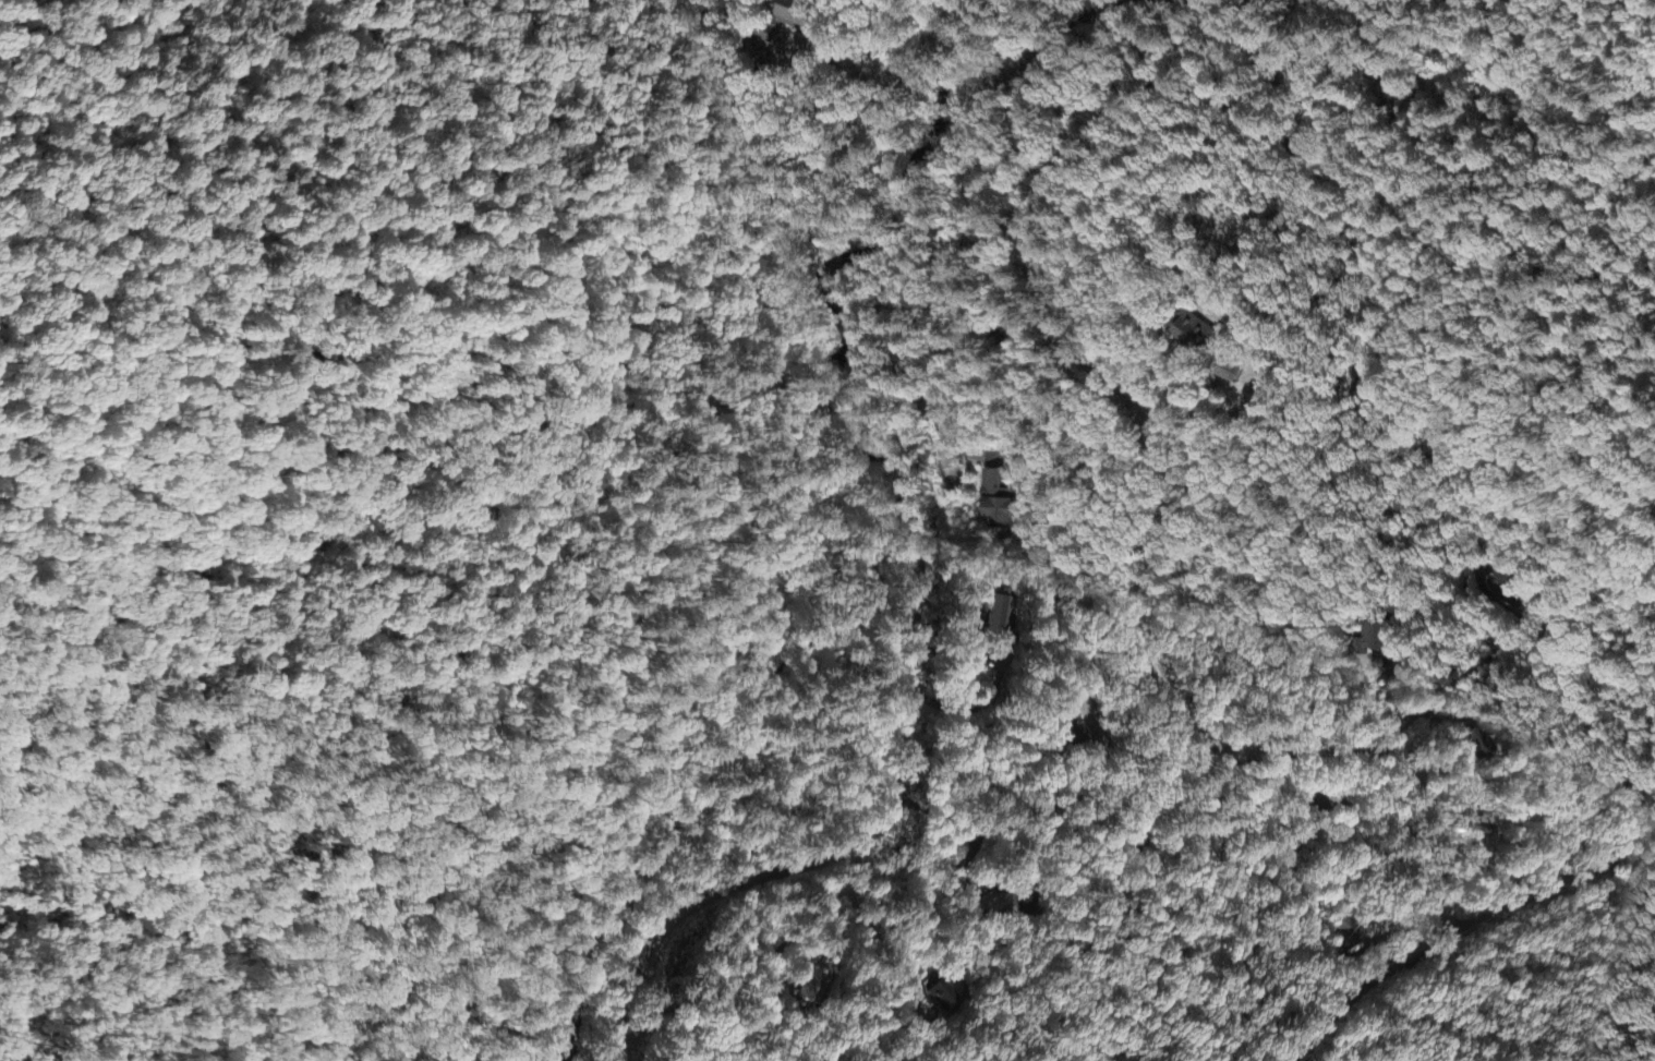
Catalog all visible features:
road: (1228, 34)
building: (1192, 333)
road: (299, 342)
building: (1227, 373)
building: (999, 503)
road: (1165, 531)
road: (913, 557)
building: (1000, 620)
building: (1376, 643)
road: (1449, 684)
building: (1471, 744)
building: (1462, 829)
road: (1553, 880)
road: (520, 926)
building: (1344, 936)
building: (940, 997)

